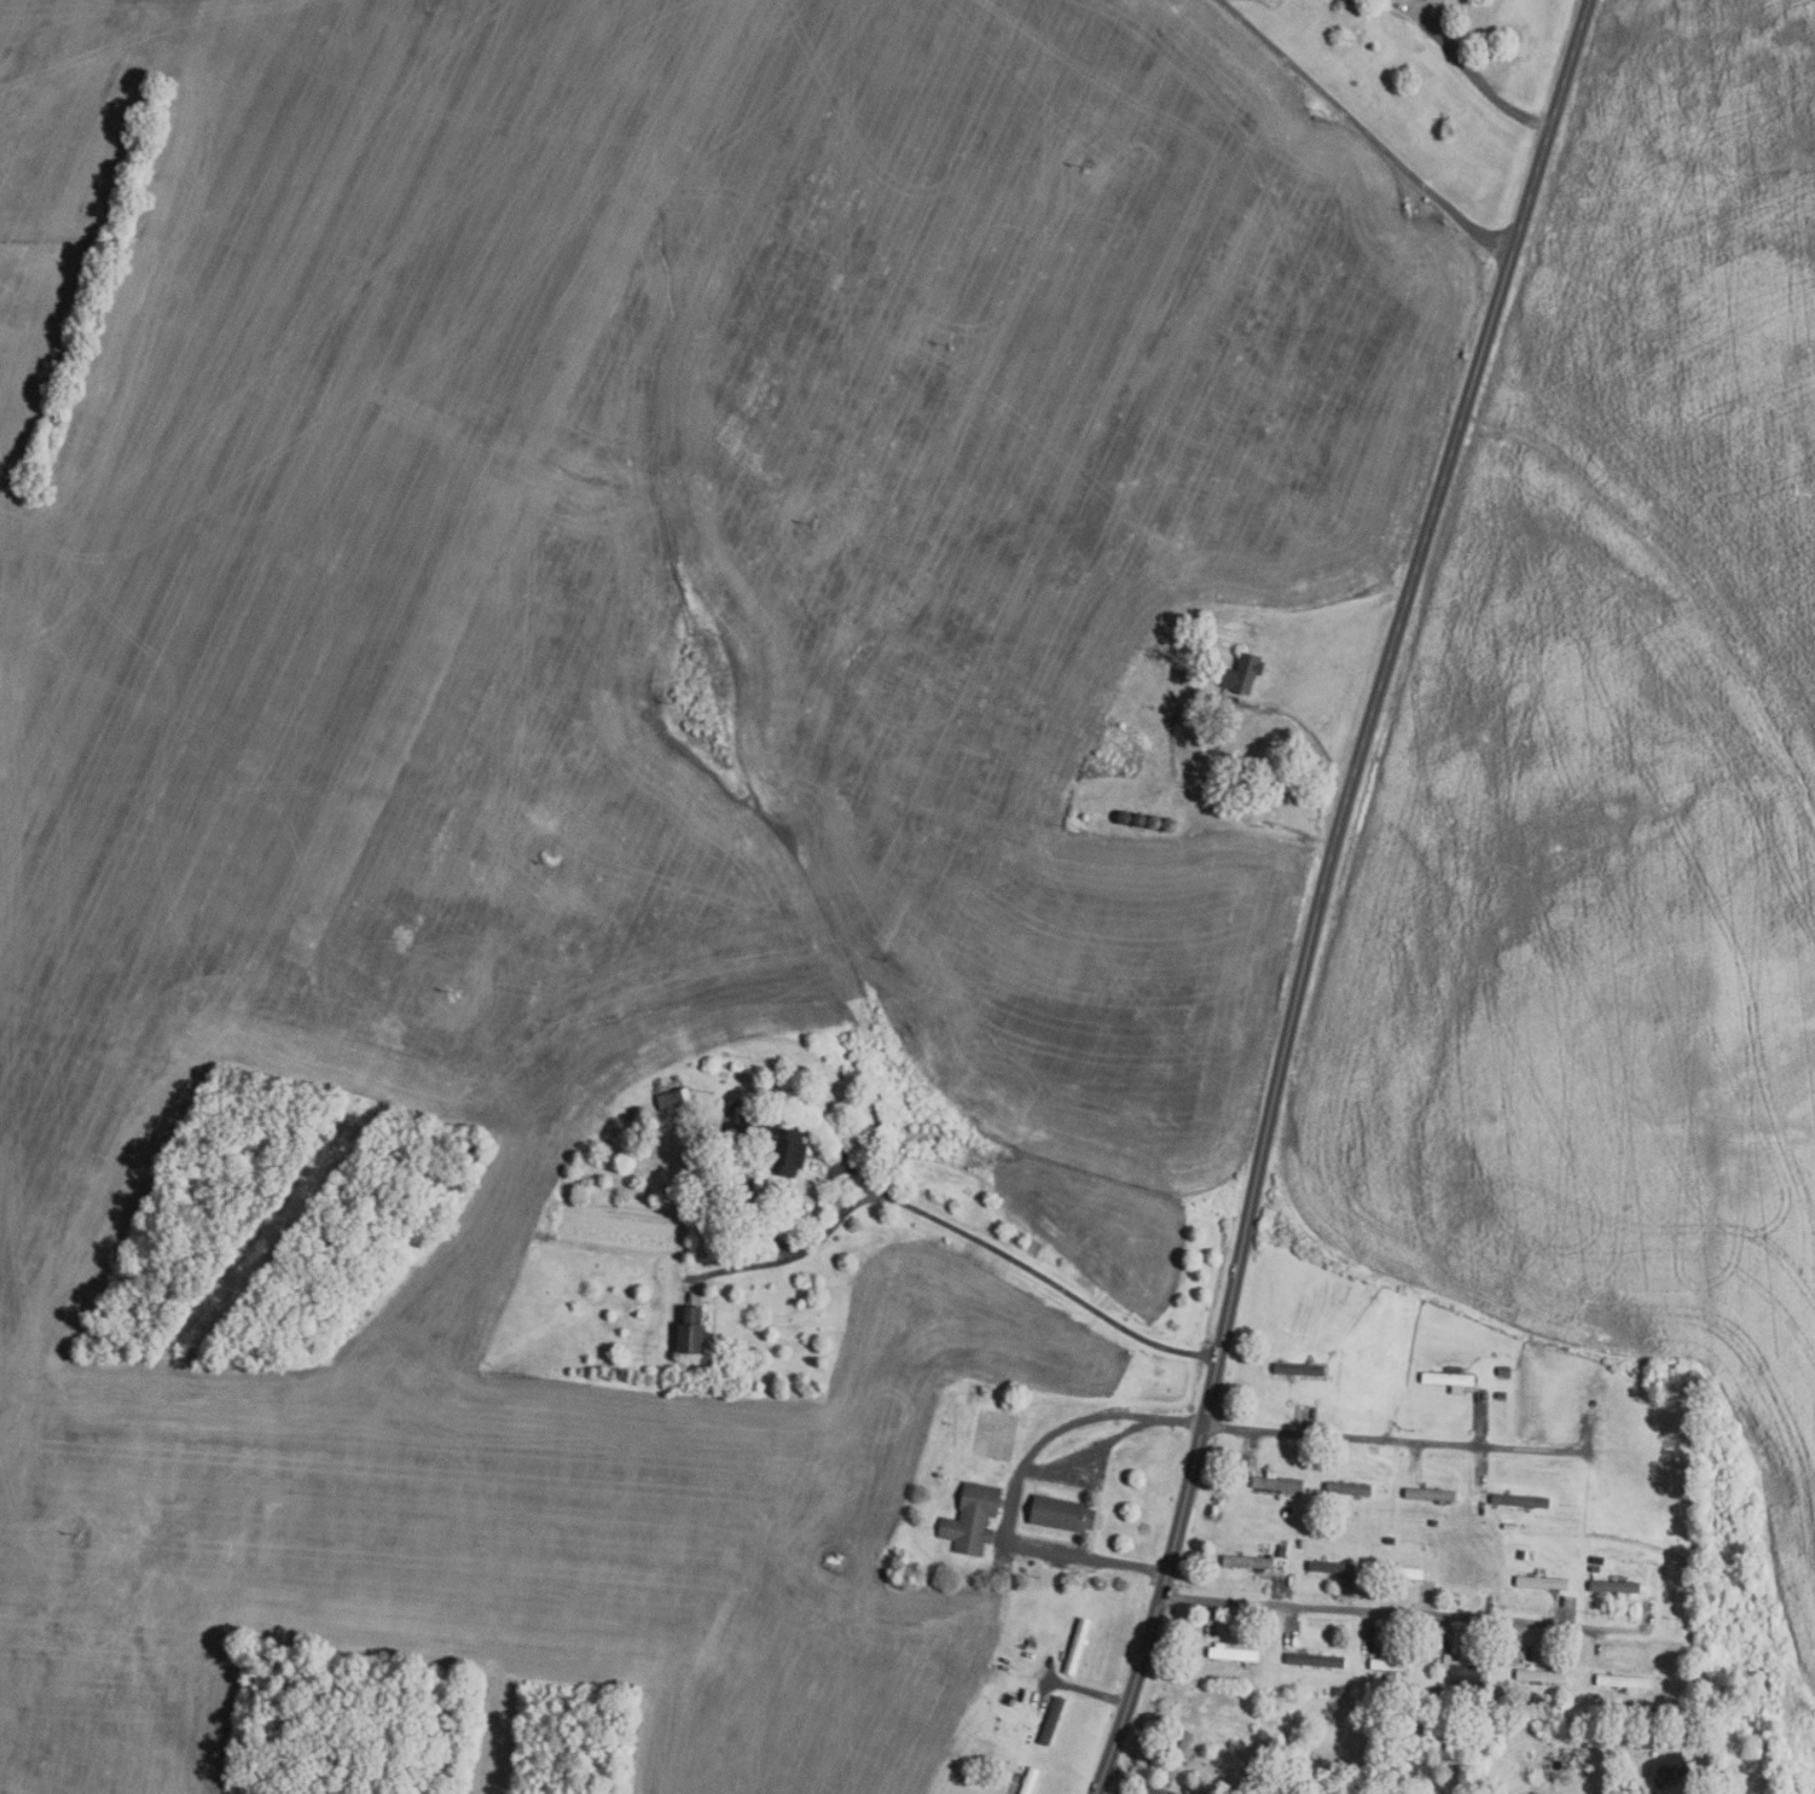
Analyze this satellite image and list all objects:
building: (1426, 0)
road: (1484, 92)
road: (1364, 132)
building: (1108, 648)
building: (1243, 674)
road: (1172, 727)
building: (1125, 749)
road: (1324, 892)
building: (673, 1098)
building: (775, 1144)
road: (796, 1255)
road: (1037, 1272)
building: (689, 1330)
building: (1298, 1369)
building: (1503, 1371)
building: (1446, 1378)
building: (1501, 1394)
road: (1397, 1441)
building: (1277, 1482)
road: (1016, 1487)
building: (1349, 1488)
building: (1431, 1494)
building: (1519, 1502)
building: (1287, 1511)
building: (1061, 1514)
building: (972, 1519)
building: (1341, 1520)
building: (1433, 1522)
building: (1388, 1539)
building: (1301, 1543)
building: (1282, 1550)
building: (1526, 1555)
building: (1248, 1562)
building: (1332, 1567)
building: (1595, 1568)
building: (1398, 1572)
building: (1541, 1581)
building: (1614, 1586)
road: (1402, 1614)
building: (1031, 1643)
building: (1077, 1645)
building: (1233, 1653)
building: (1316, 1659)
building: (1388, 1665)
building: (1461, 1671)
building: (1541, 1676)
building: (1249, 1678)
building: (1622, 1680)
building: (1484, 1686)
building: (1415, 1688)
road: (1090, 1691)
building: (1339, 1691)
building: (1436, 1691)
building: (1543, 1703)
building: (1655, 1712)
building: (1051, 1720)
building: (1566, 1734)
building: (1610, 1740)
building: (1173, 1761)
building: (1668, 1767)
building: (962, 1775)
building: (972, 1778)
building: (1030, 1780)
road: (1132, 1780)

